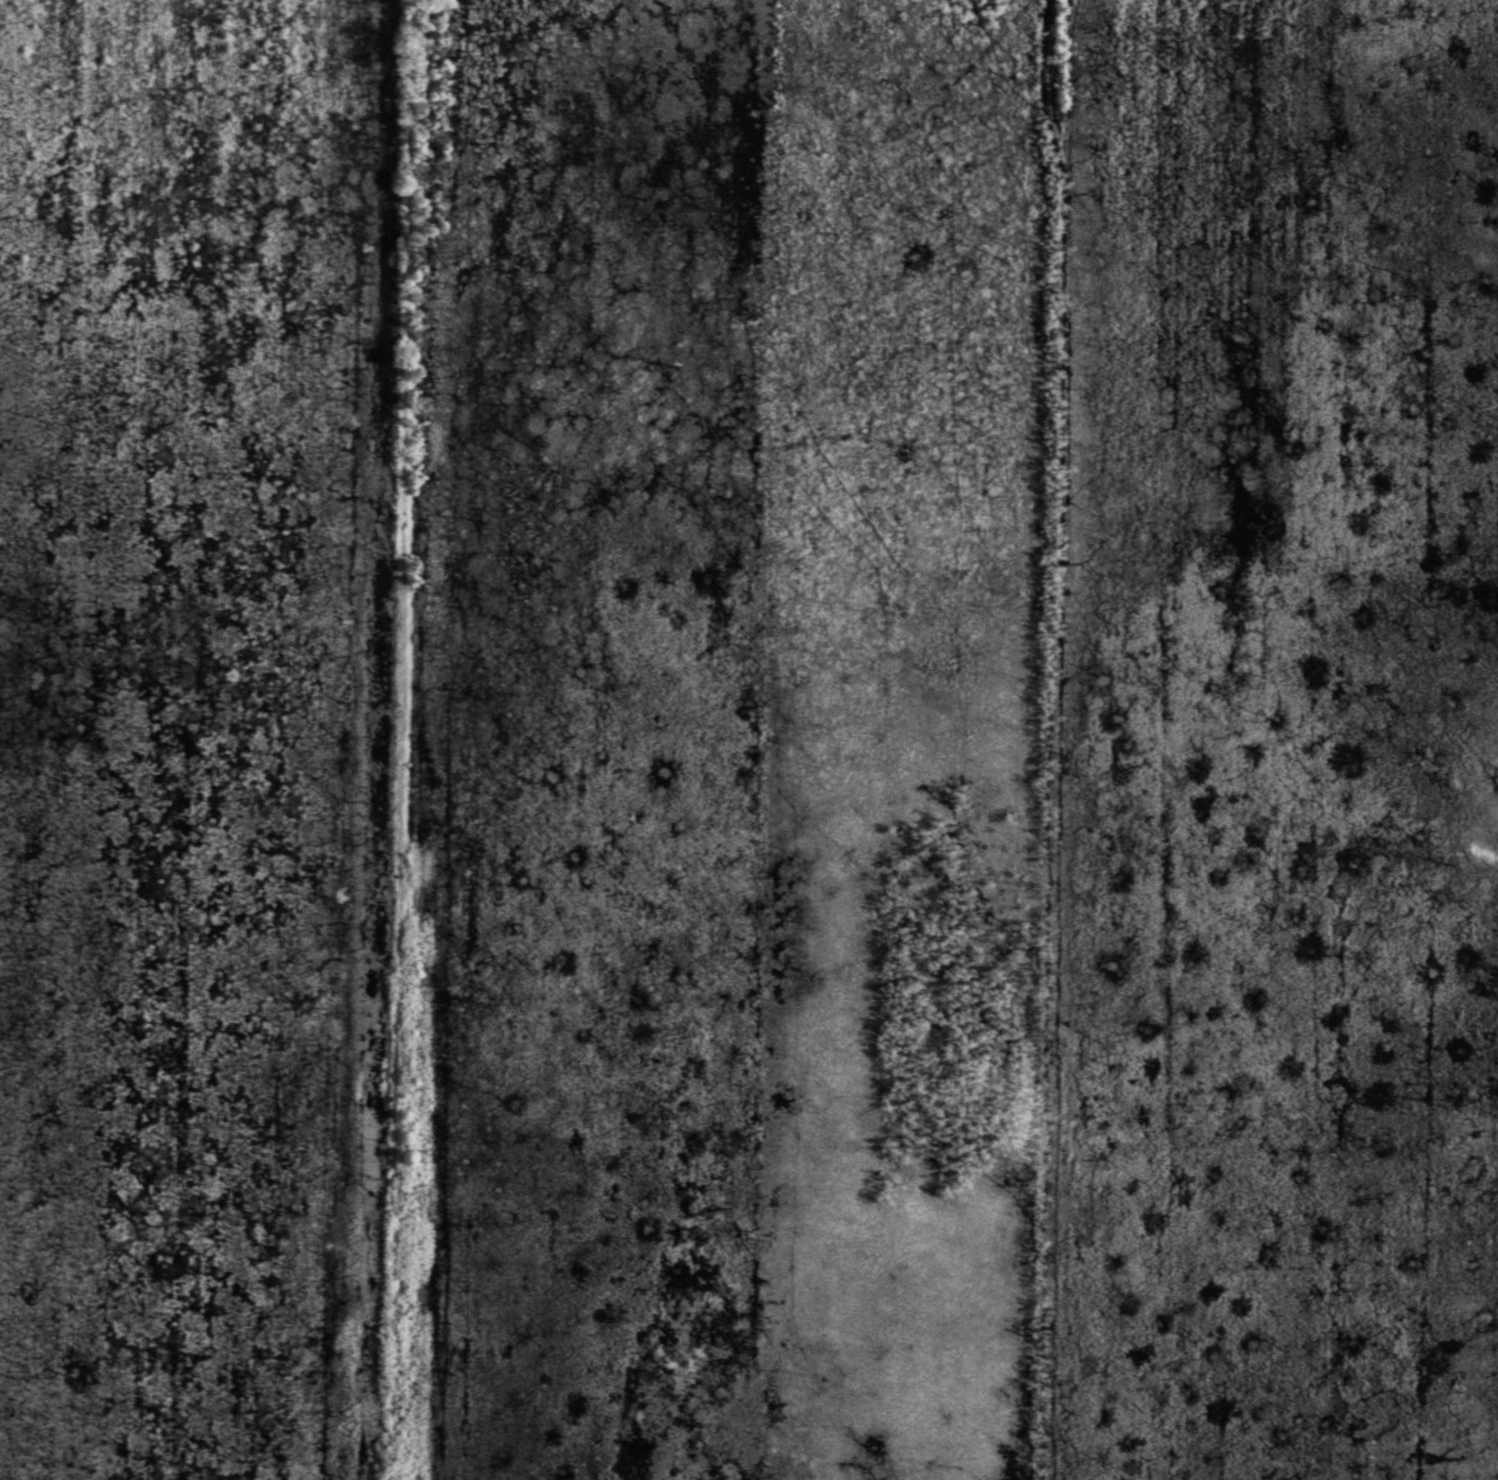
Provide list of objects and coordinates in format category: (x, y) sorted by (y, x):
crop: (749, 740)

